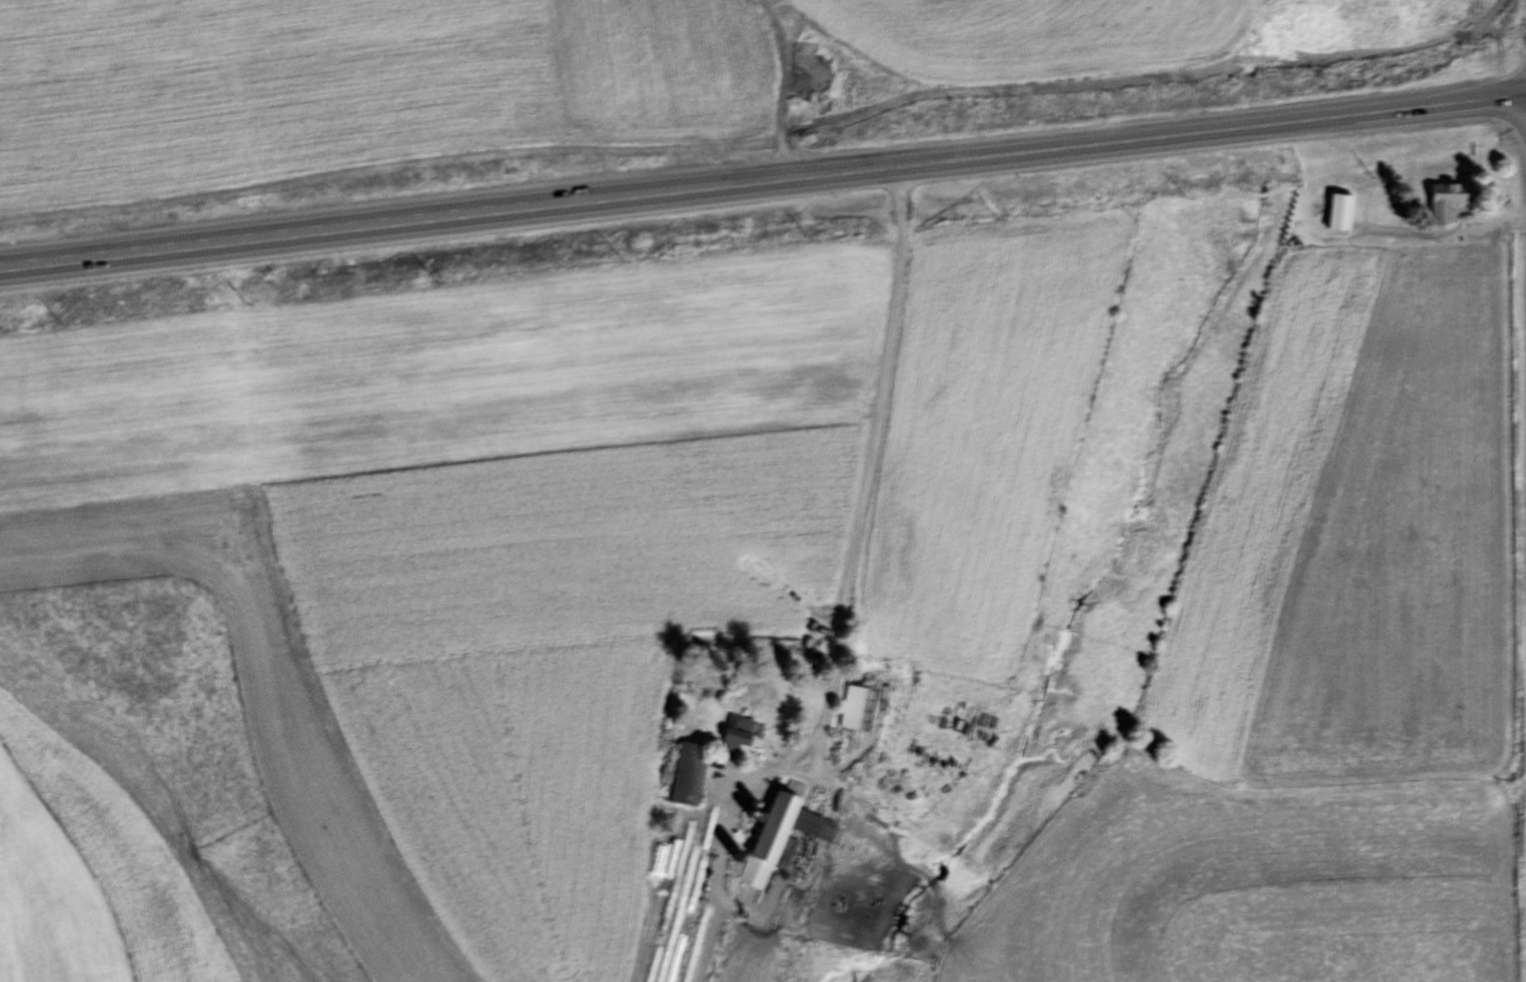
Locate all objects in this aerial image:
road: (762, 181)
building: (1439, 200)
building: (1334, 213)
road: (873, 459)
building: (730, 730)
building: (681, 774)
building: (764, 835)

